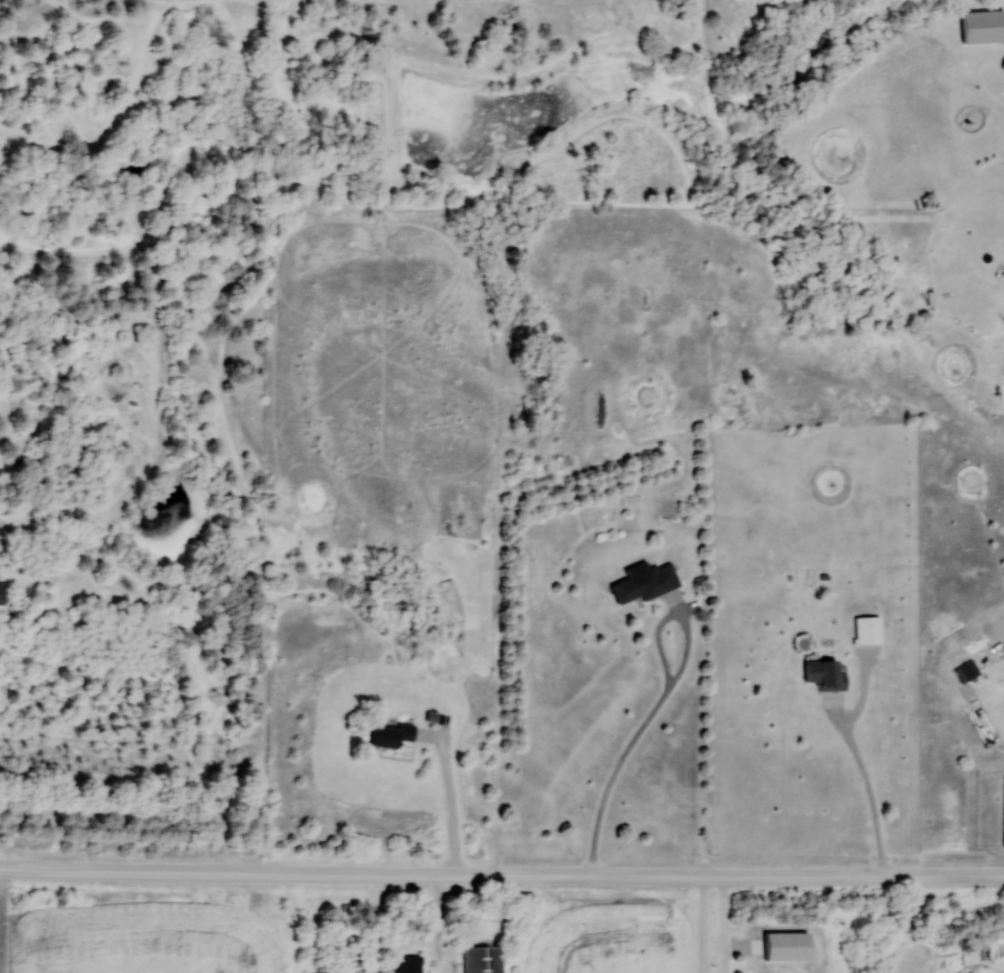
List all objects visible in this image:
building: (985, 28)
building: (648, 583)
building: (4, 593)
building: (971, 669)
building: (825, 673)
building: (391, 733)
road: (502, 877)
building: (971, 956)
building: (484, 959)
building: (408, 964)

